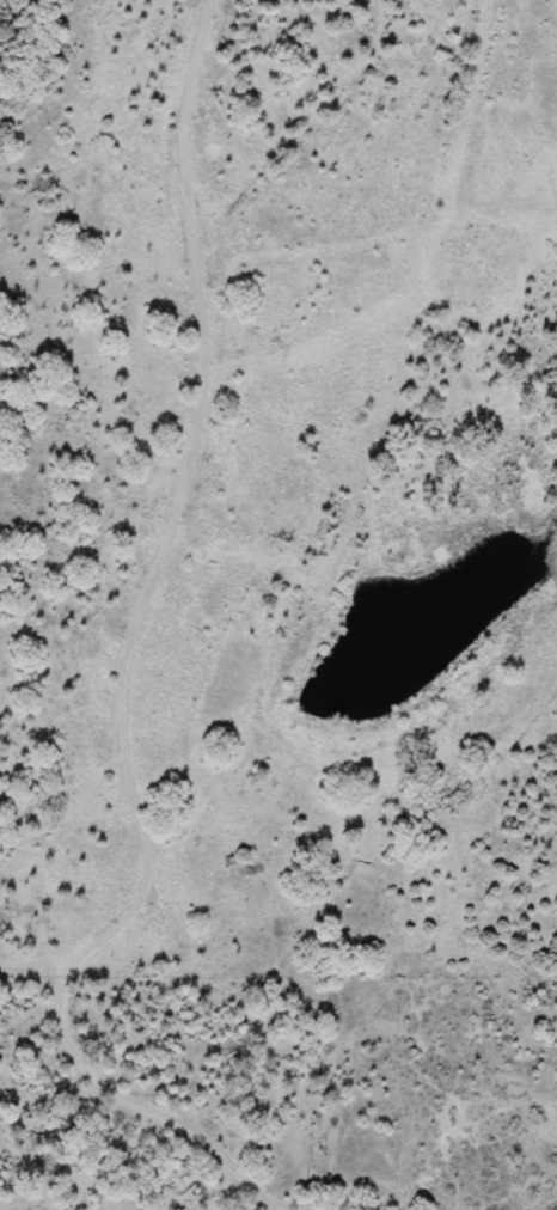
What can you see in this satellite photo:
airport: (513, 109)
road: (134, 668)
road: (38, 959)

